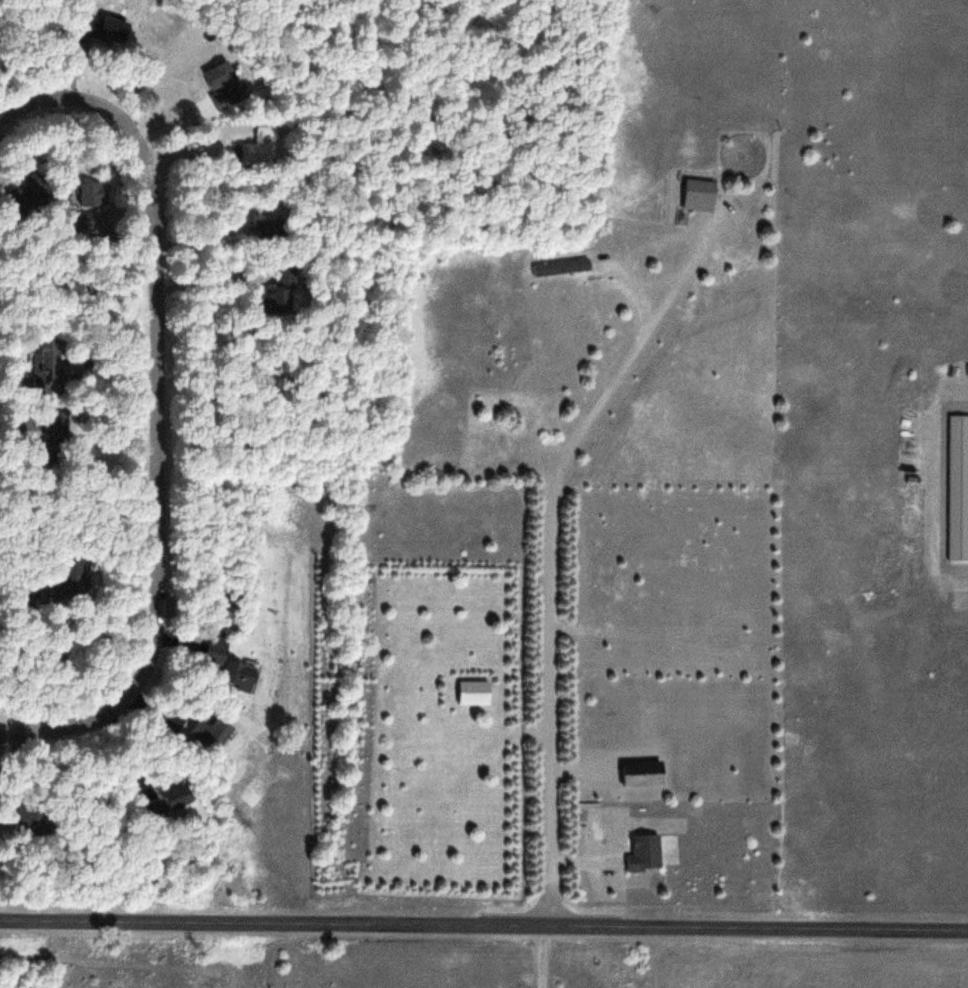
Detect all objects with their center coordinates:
building: (702, 195)
building: (564, 267)
building: (47, 379)
road: (148, 408)
road: (938, 483)
building: (956, 483)
road: (548, 585)
building: (245, 677)
building: (475, 692)
building: (211, 734)
building: (180, 797)
building: (34, 820)
building: (645, 853)
road: (483, 925)

